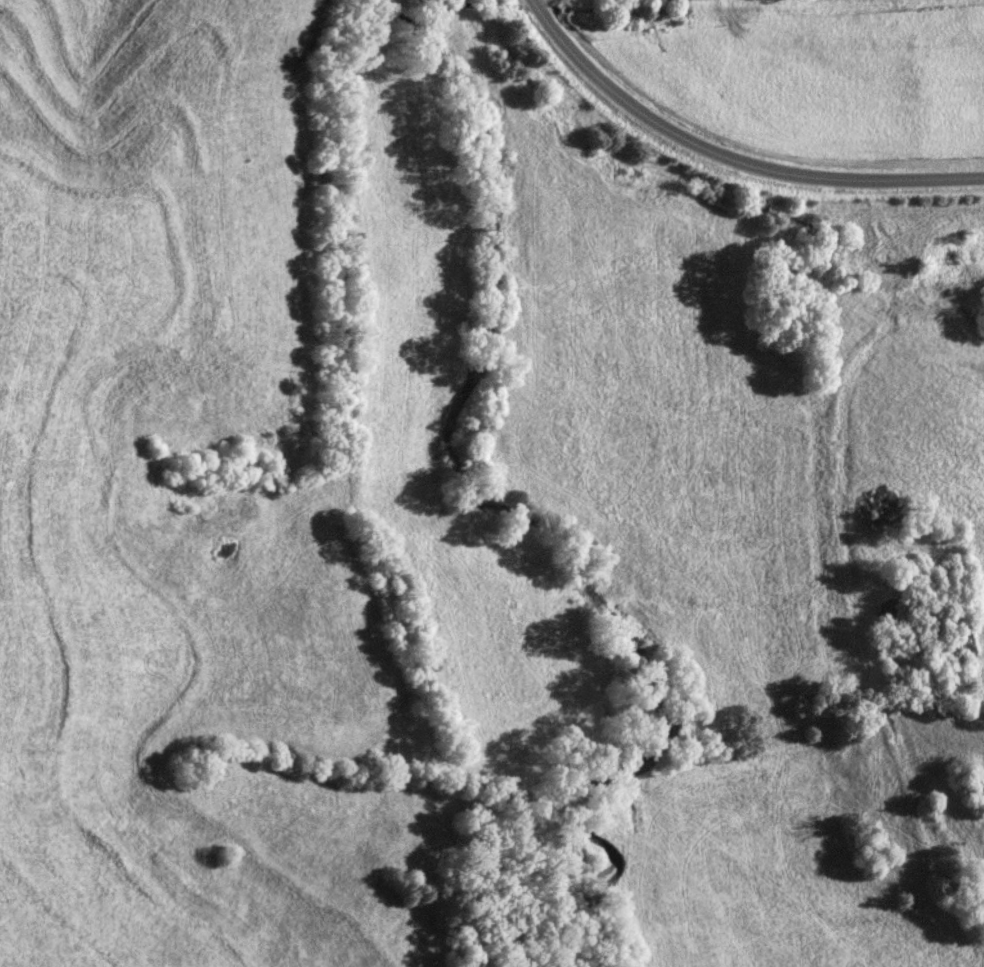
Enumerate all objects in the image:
road: (728, 160)

